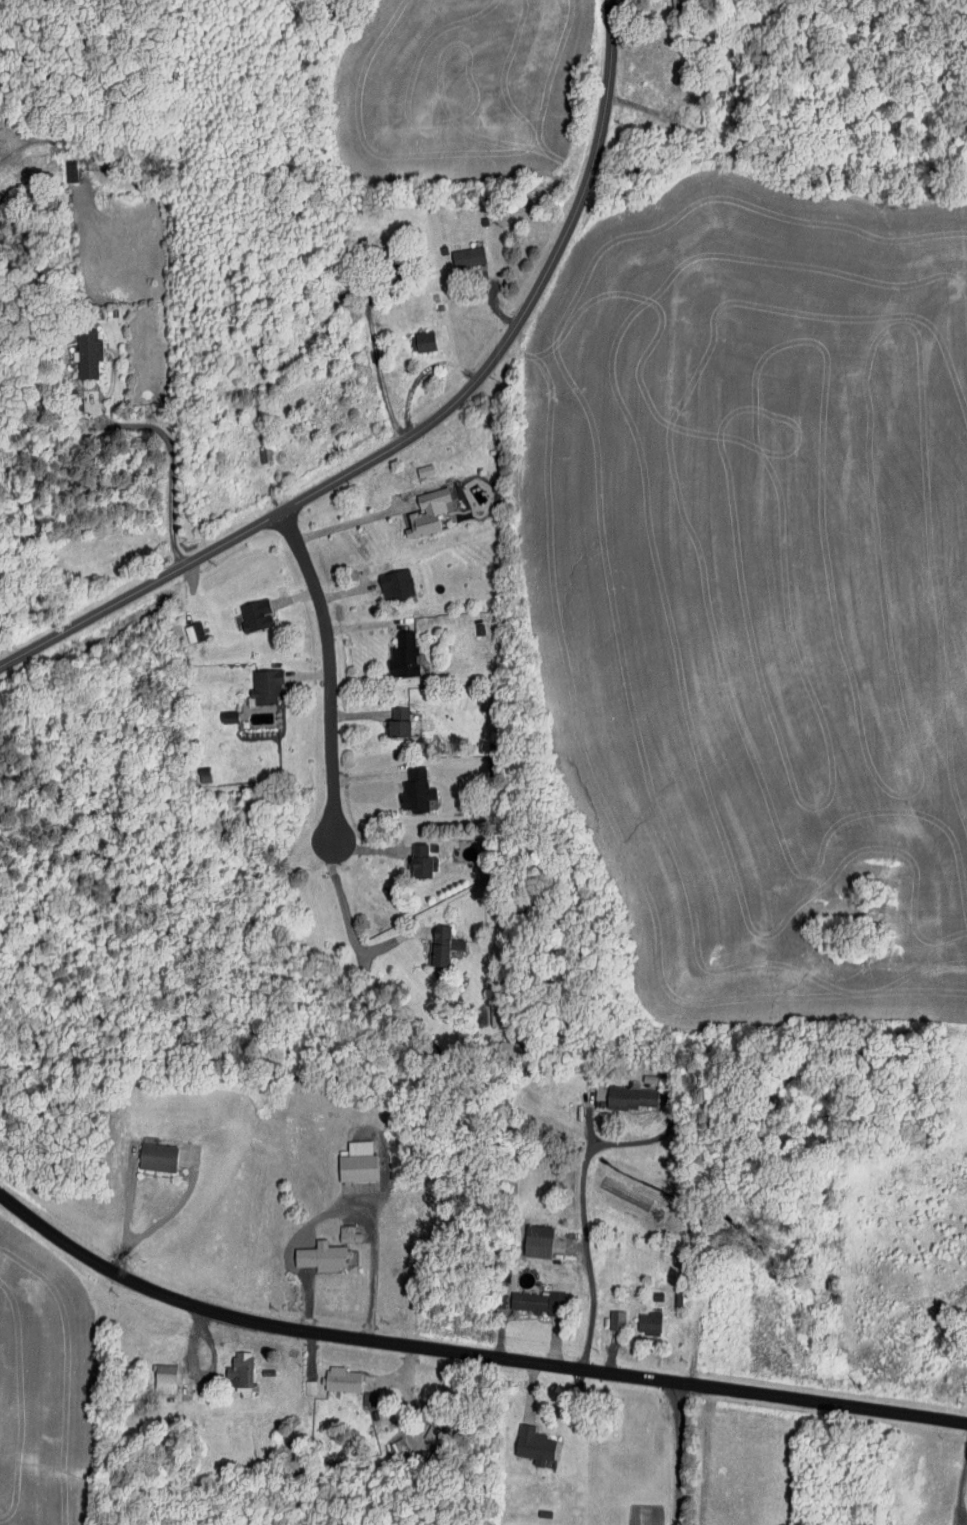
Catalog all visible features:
building: (676, 2)
building: (467, 257)
road: (498, 307)
building: (422, 342)
building: (87, 354)
road: (379, 360)
road: (421, 375)
road: (422, 428)
building: (265, 455)
road: (170, 461)
building: (424, 470)
building: (426, 514)
road: (353, 523)
building: (395, 585)
road: (348, 595)
road: (296, 596)
building: (255, 616)
road: (367, 626)
building: (194, 633)
building: (403, 656)
road: (307, 674)
road: (325, 676)
building: (265, 687)
road: (355, 713)
building: (228, 717)
building: (397, 724)
road: (366, 778)
building: (415, 792)
road: (370, 849)
building: (421, 859)
road: (352, 934)
building: (441, 945)
building: (631, 1096)
building: (156, 1157)
building: (357, 1162)
road: (126, 1220)
building: (348, 1234)
building: (536, 1241)
building: (320, 1256)
road: (584, 1256)
building: (536, 1302)
building: (616, 1320)
building: (648, 1323)
road: (165, 1331)
road: (468, 1354)
road: (355, 1363)
road: (211, 1369)
building: (242, 1373)
building: (163, 1379)
building: (335, 1380)
building: (533, 1445)
road: (679, 1454)
road: (714, 1463)
road: (962, 1492)

